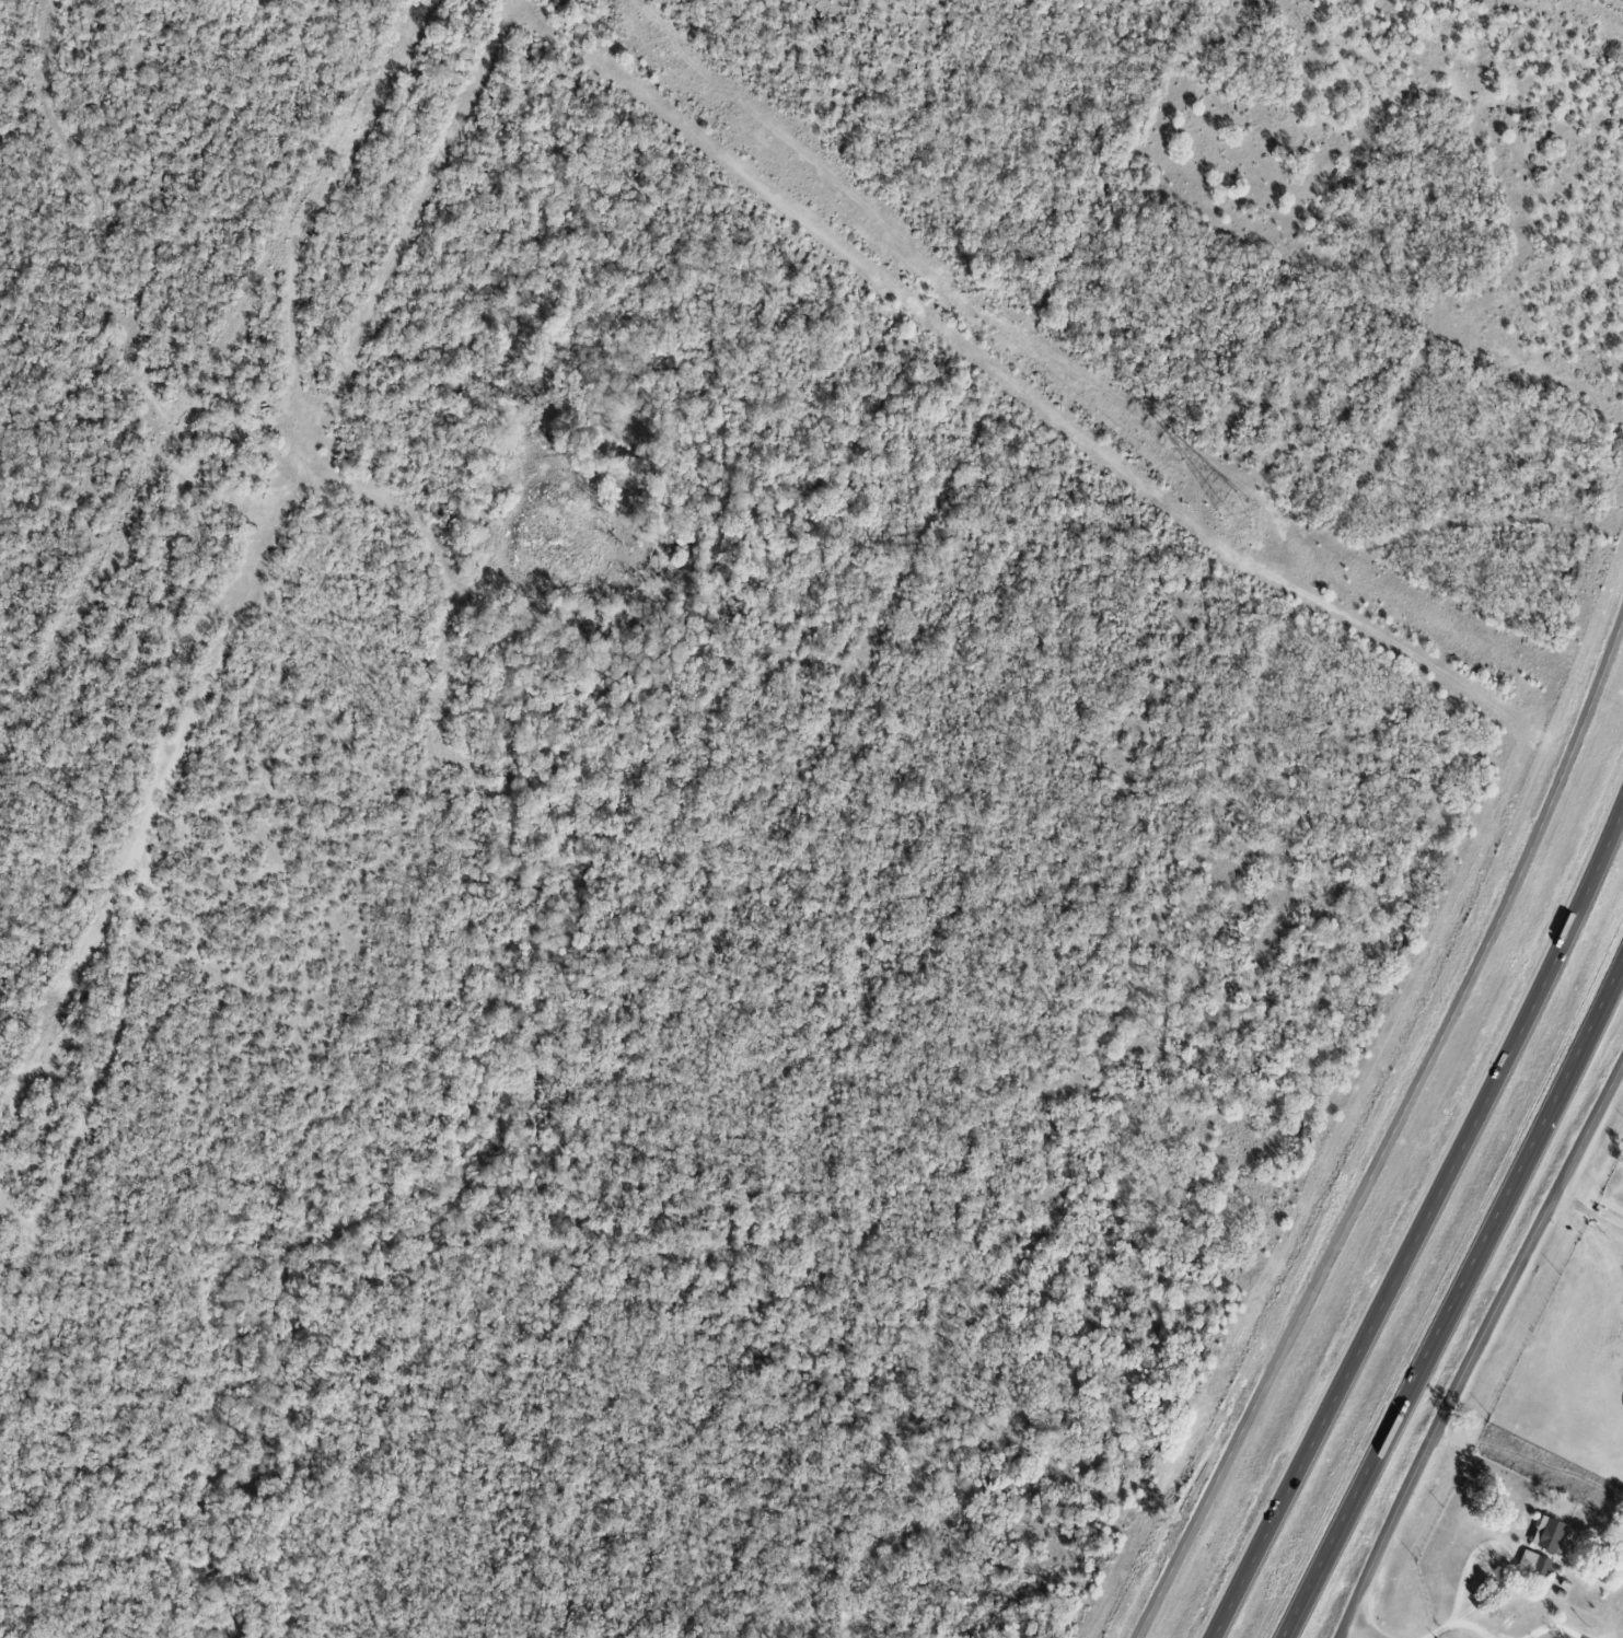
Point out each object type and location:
power tower: (1238, 508)
road: (1392, 1136)
road: (1589, 1211)
road: (1423, 1224)
road: (1456, 1303)
road: (1475, 1347)
building: (1549, 1535)
building: (1534, 1561)
road: (1458, 1591)
road: (1470, 1626)
road: (1554, 1626)
road: (1358, 1631)

